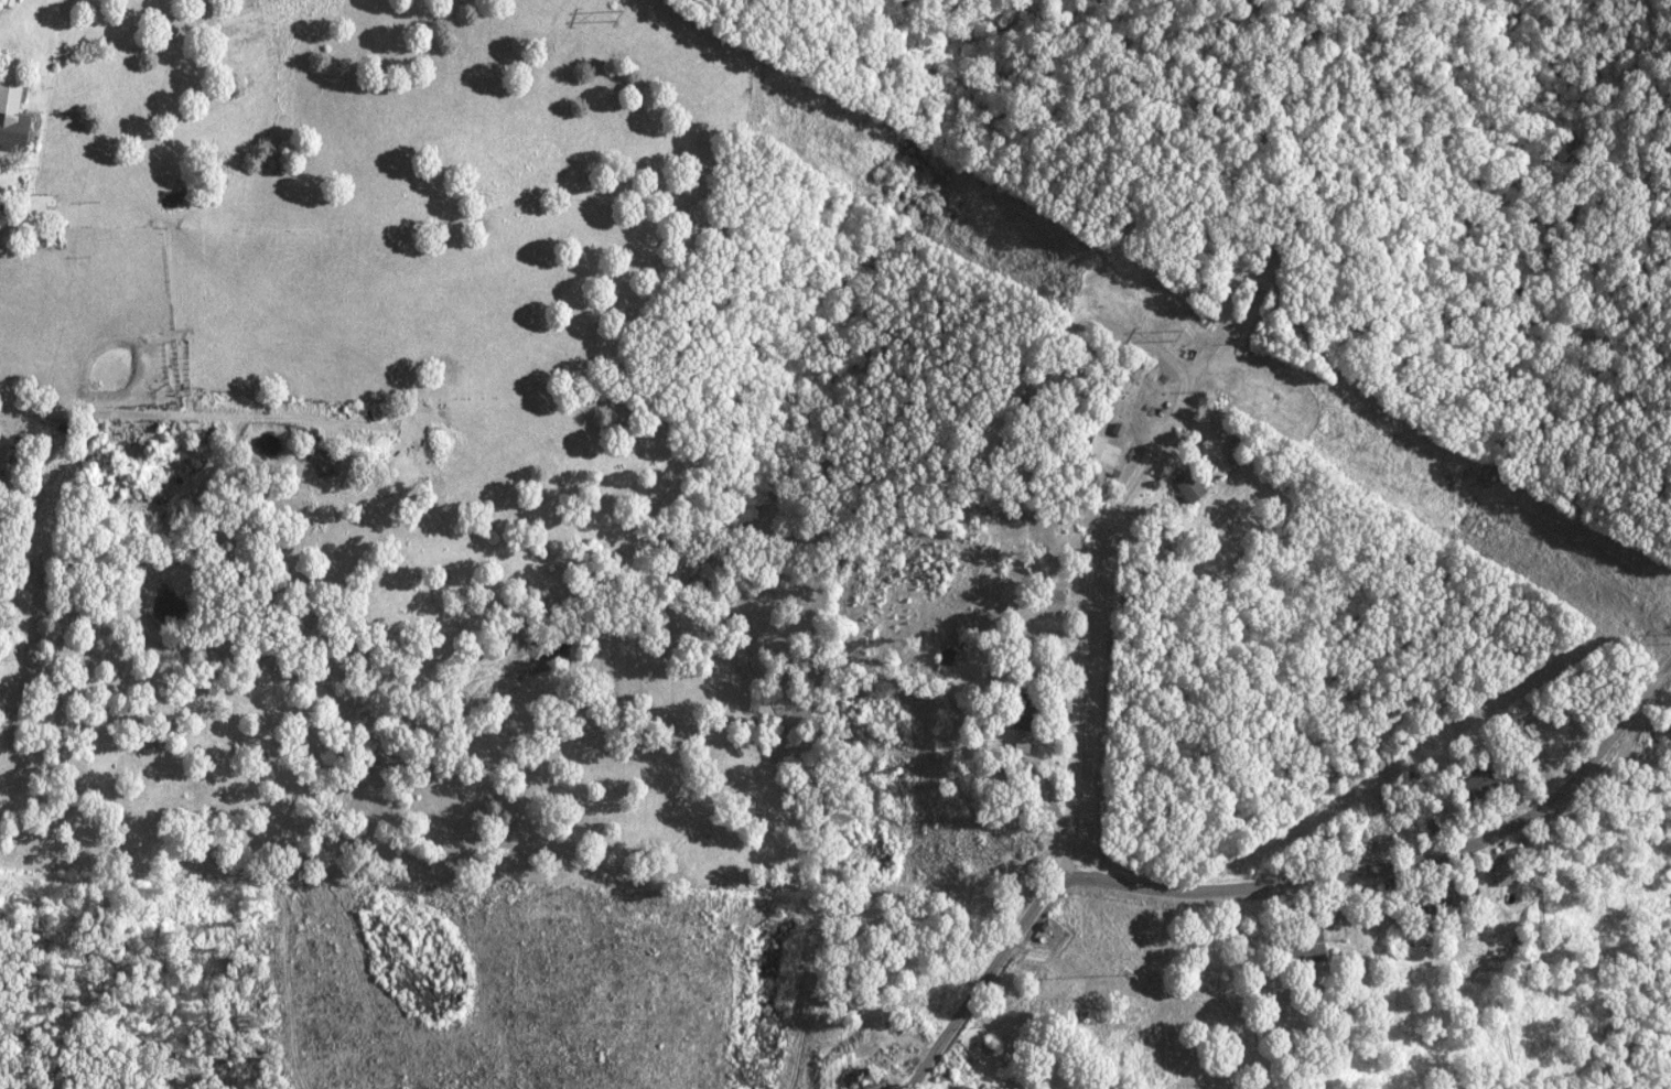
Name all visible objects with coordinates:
power tower: (612, 15)
building: (8, 118)
power tower: (1173, 338)
road: (192, 414)
building: (1096, 454)
building: (1182, 485)
road: (1088, 614)
building: (1018, 712)
building: (1470, 786)
building: (1500, 873)
road: (1275, 883)
building: (1440, 902)
building: (1293, 946)
road: (208, 1020)
building: (865, 1079)

